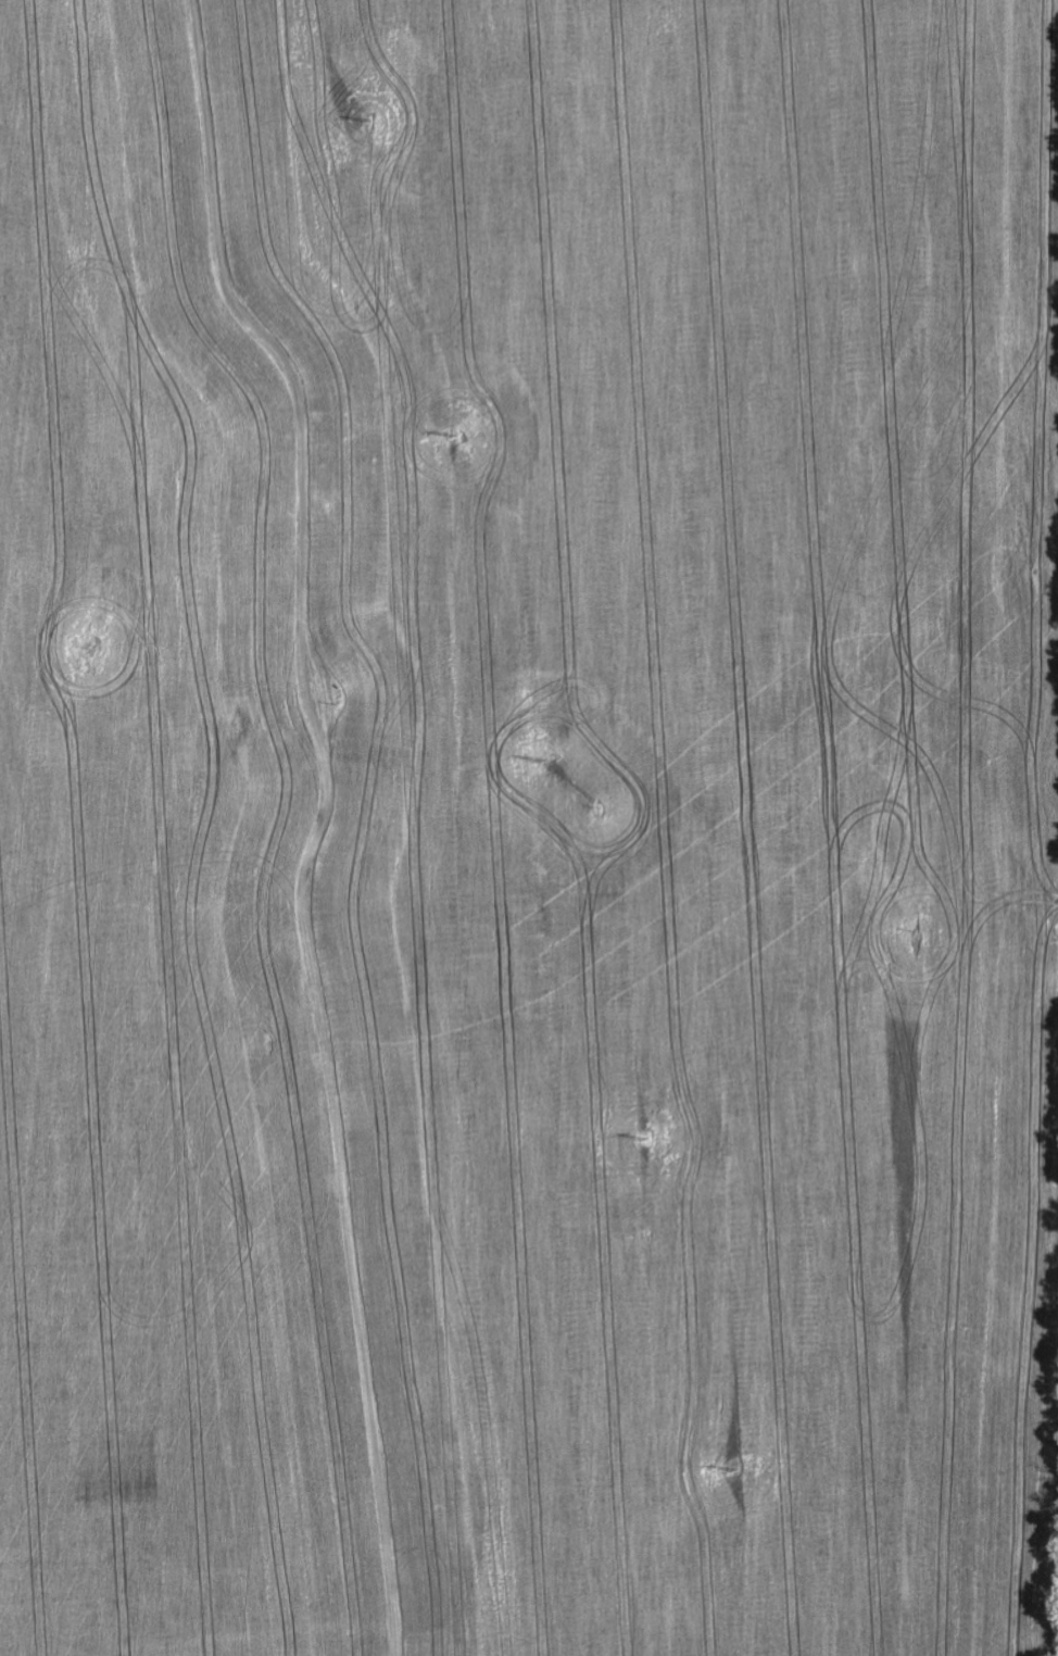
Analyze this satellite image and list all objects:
road: (217, 225)

